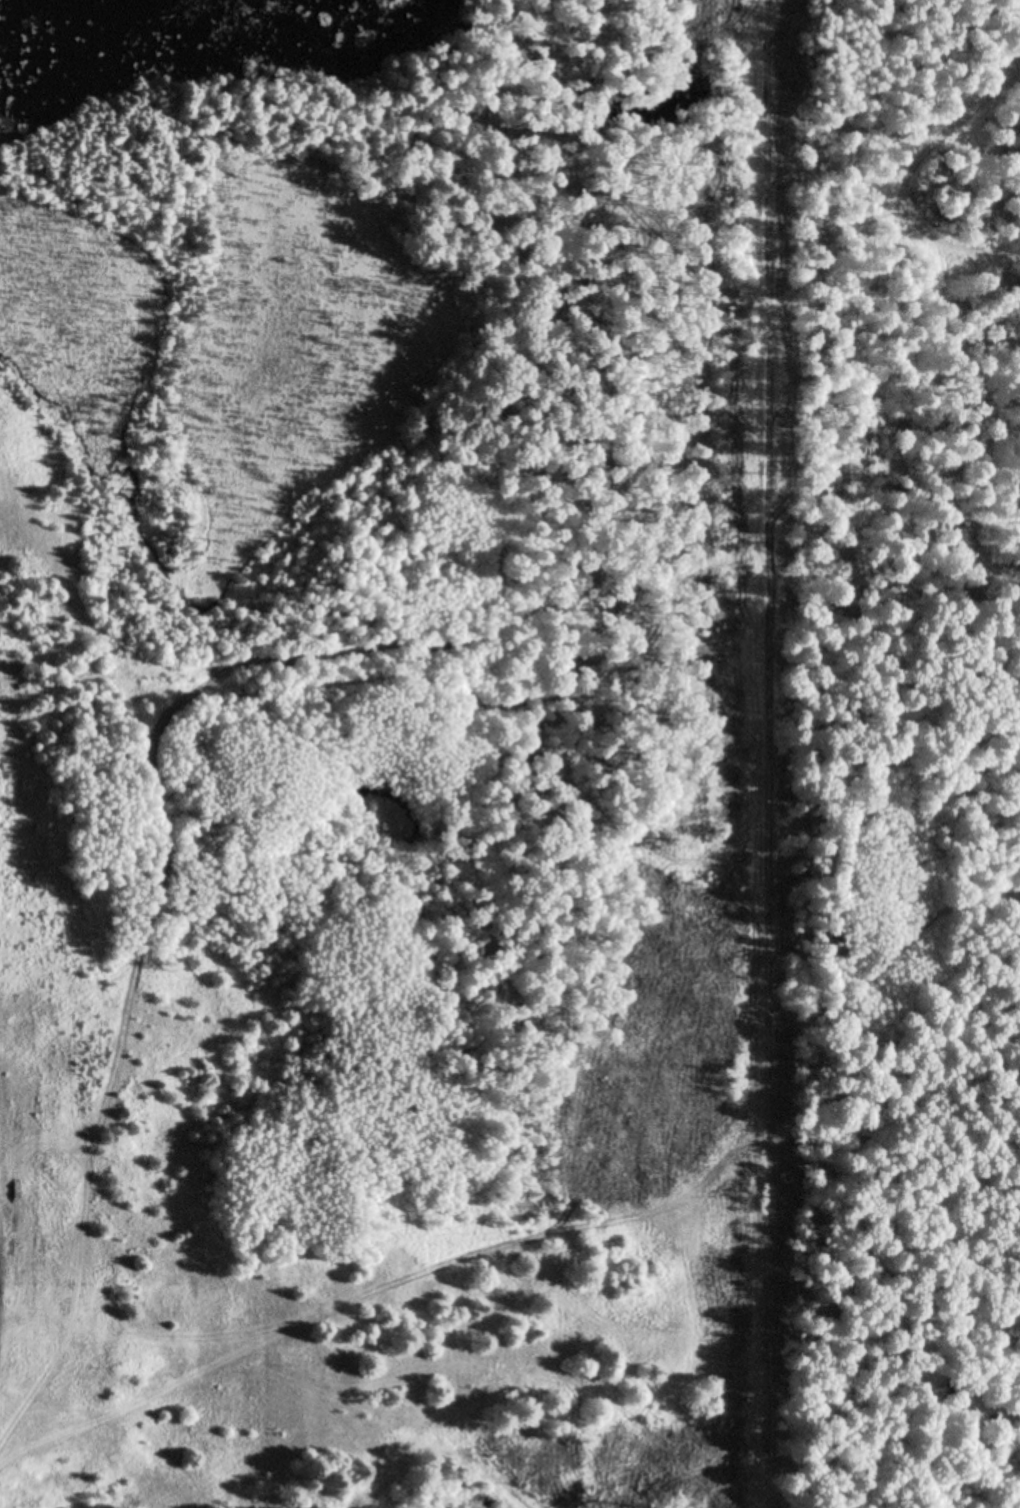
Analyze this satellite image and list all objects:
airport: (399, 775)

